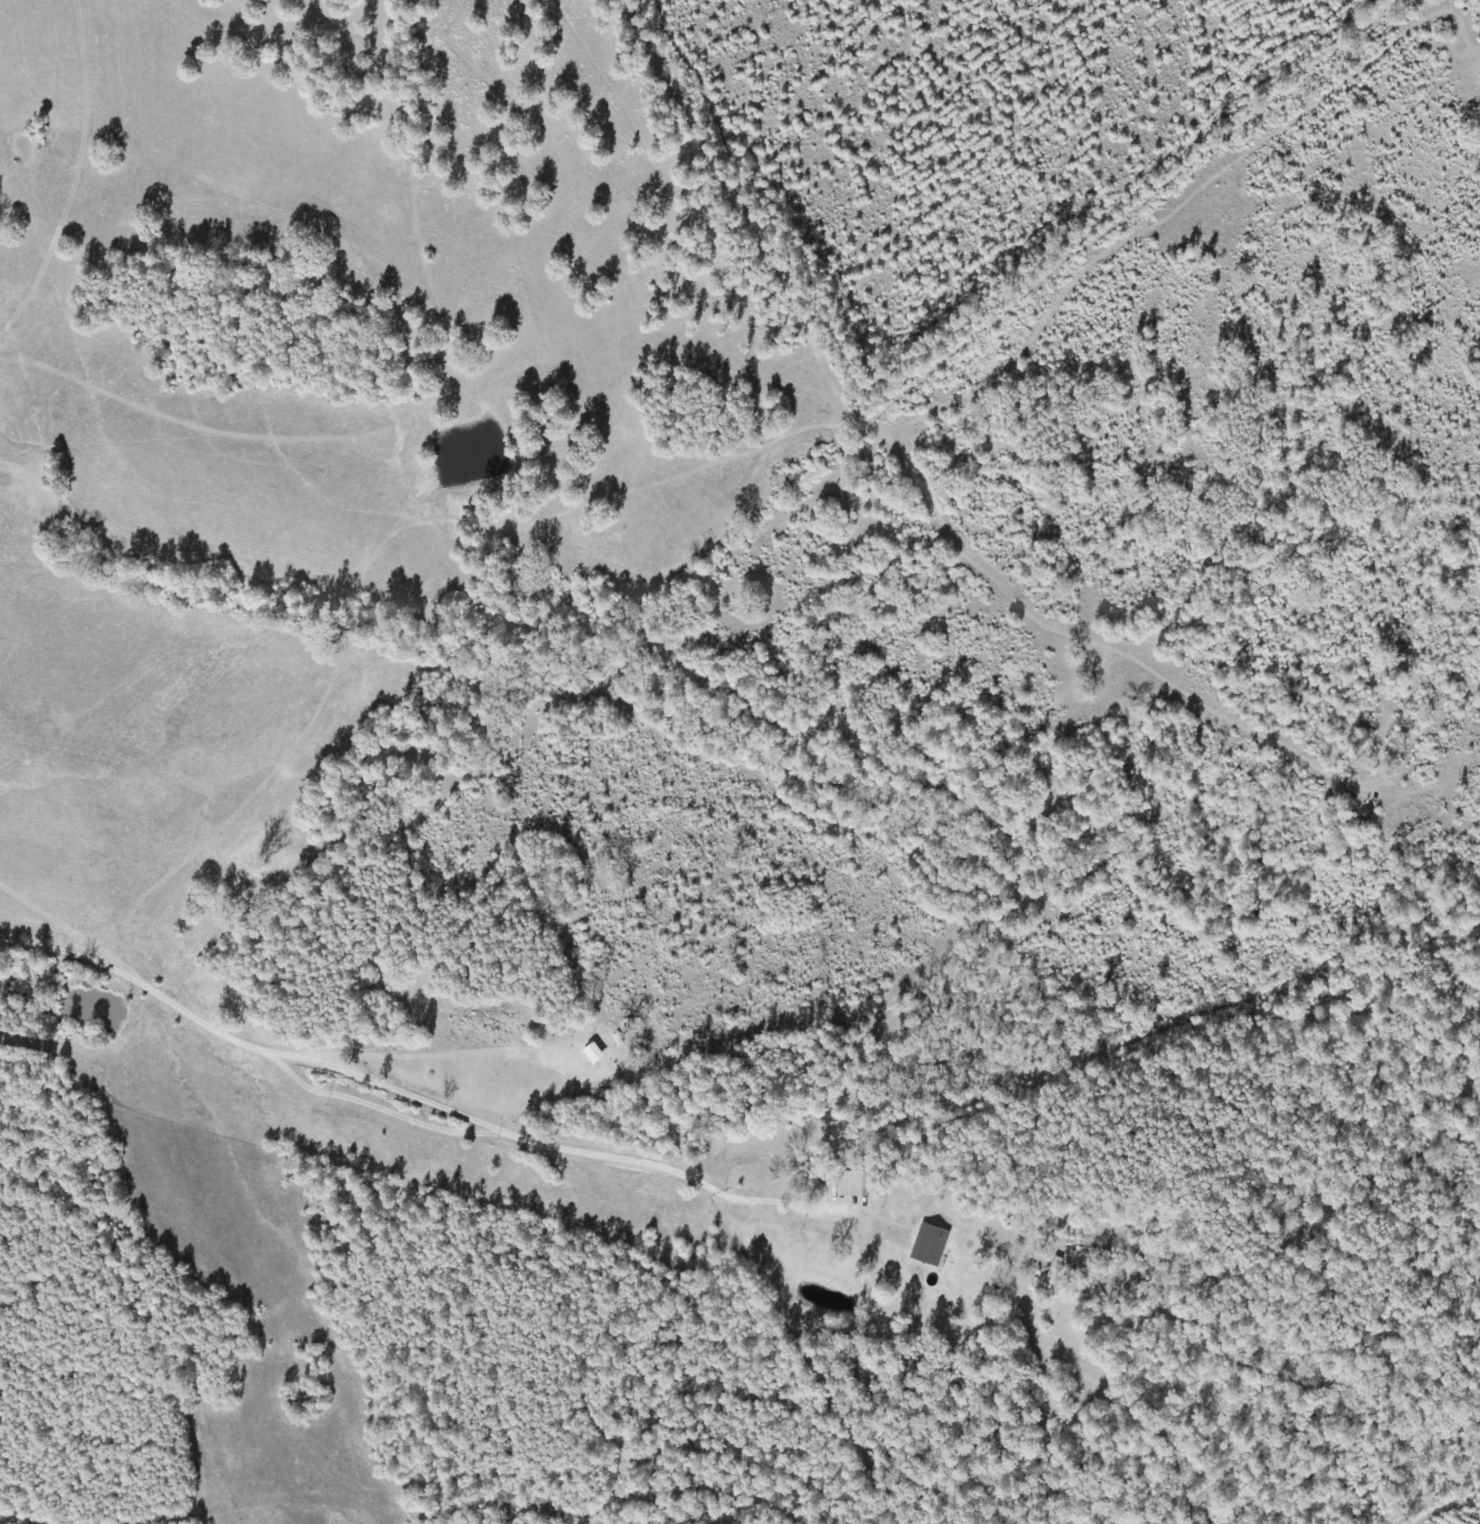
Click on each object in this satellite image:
road: (483, 701)
road: (71, 1026)
road: (603, 1158)
building: (856, 1183)
building: (930, 1244)

